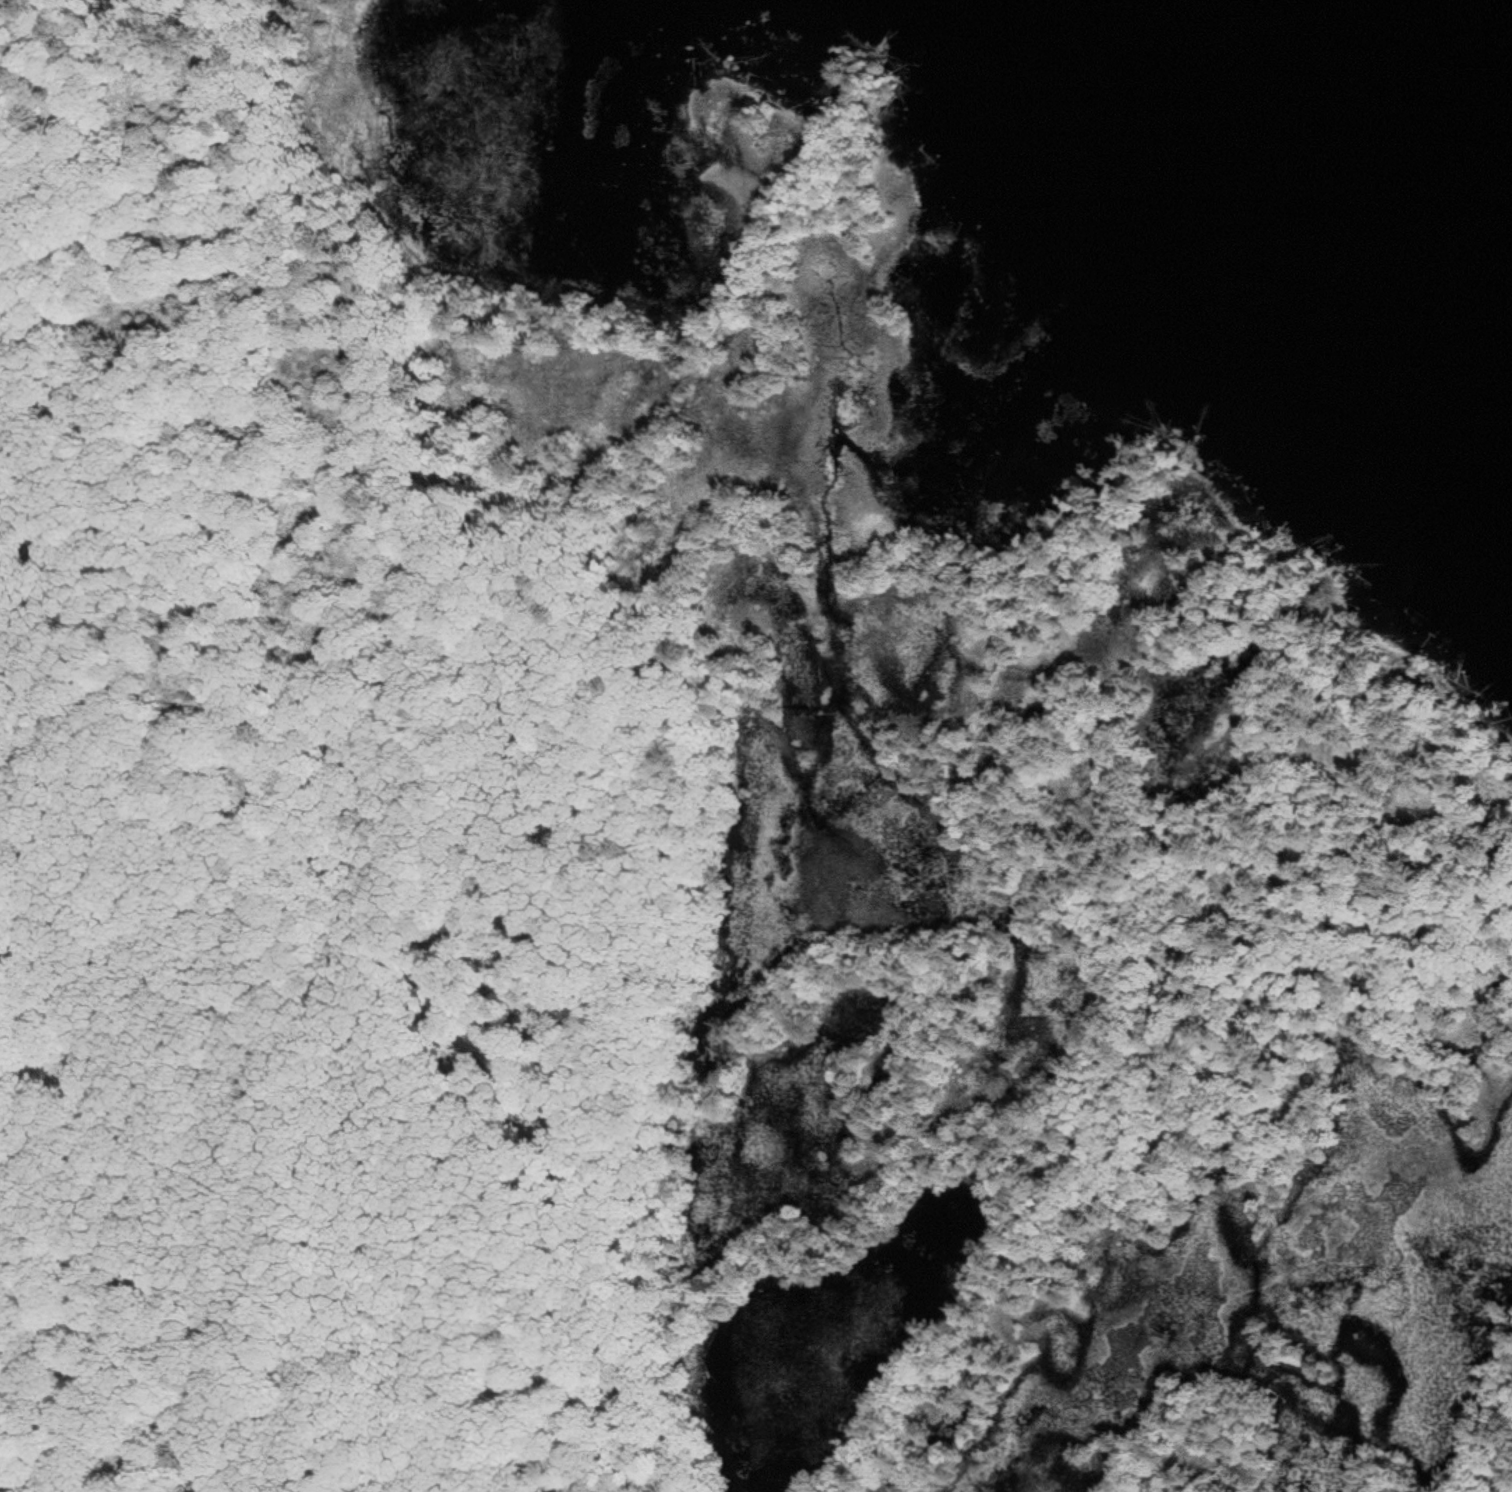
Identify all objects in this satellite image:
park: (682, 859)

